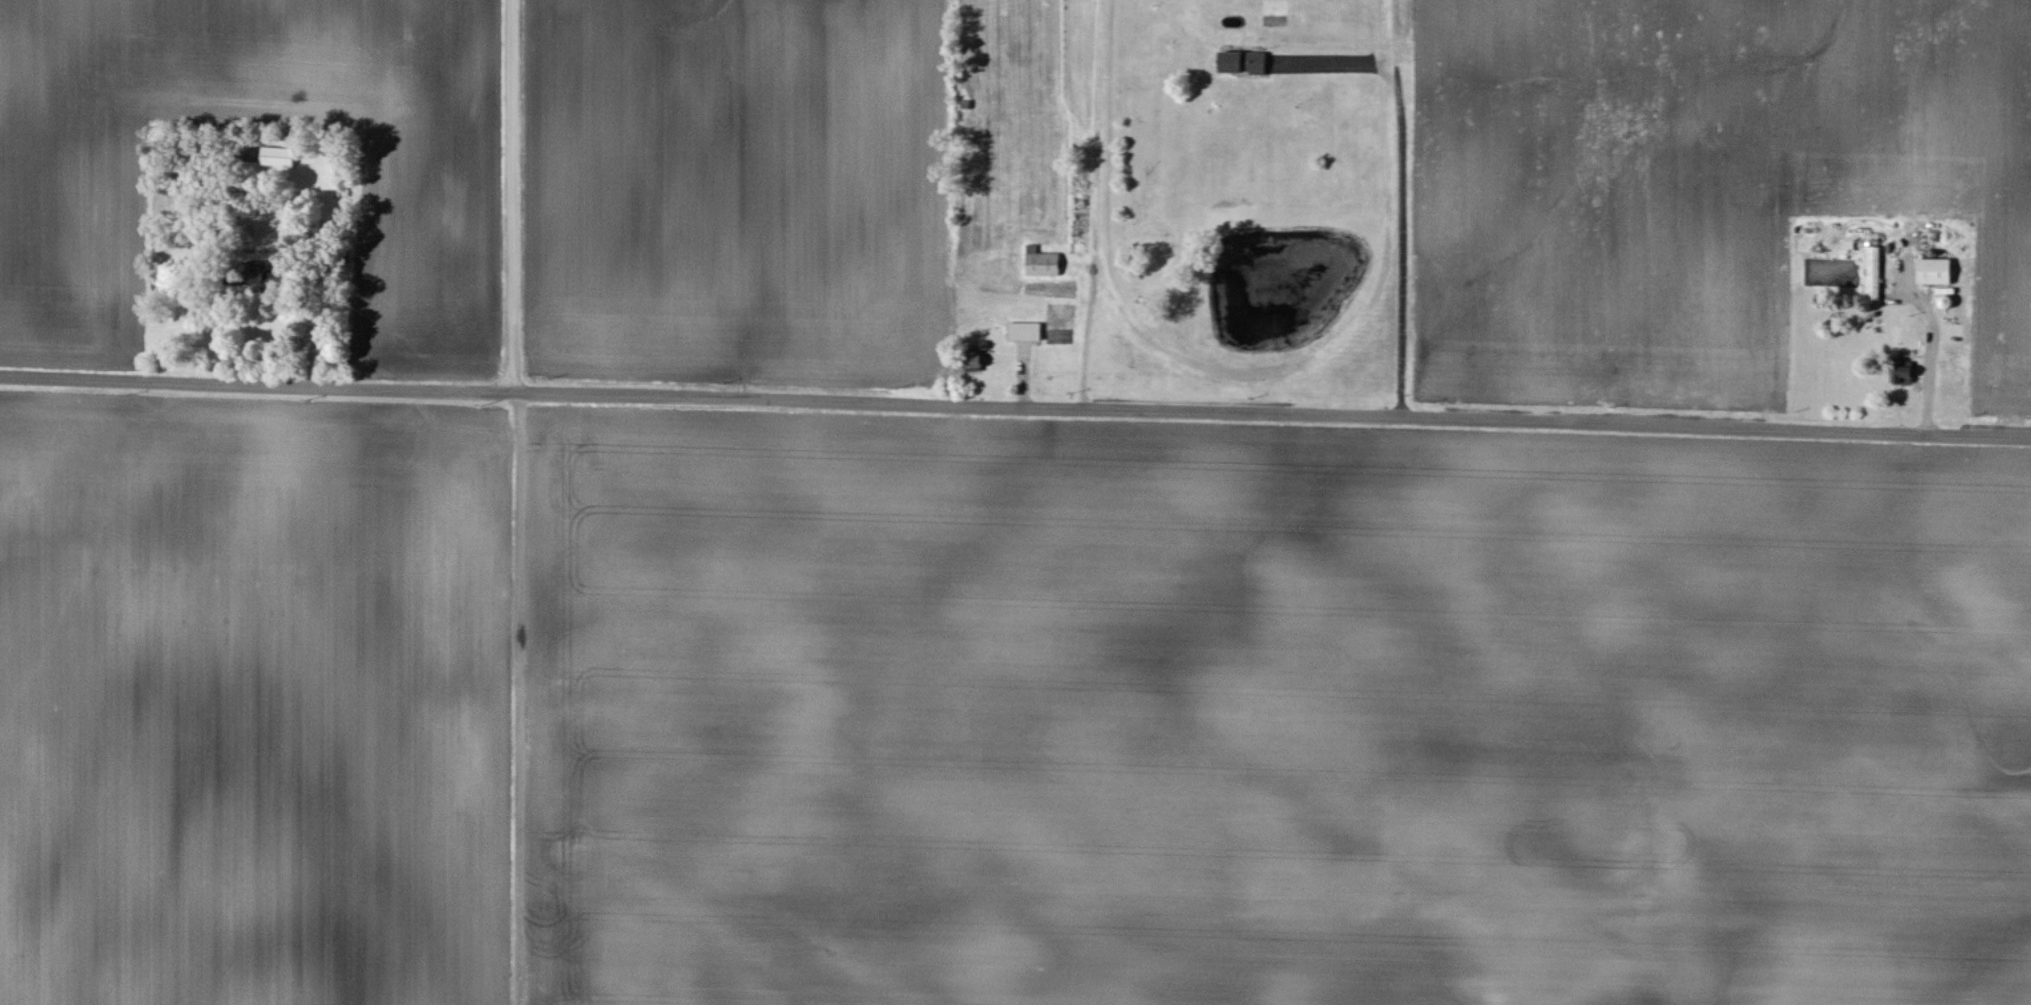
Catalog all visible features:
building: (1244, 64)
building: (278, 158)
road: (1840, 180)
road: (512, 197)
building: (1044, 266)
building: (1936, 273)
building: (256, 275)
building: (1874, 275)
building: (1025, 334)
road: (1089, 340)
building: (975, 359)
building: (1903, 375)
road: (1015, 406)
road: (523, 700)

